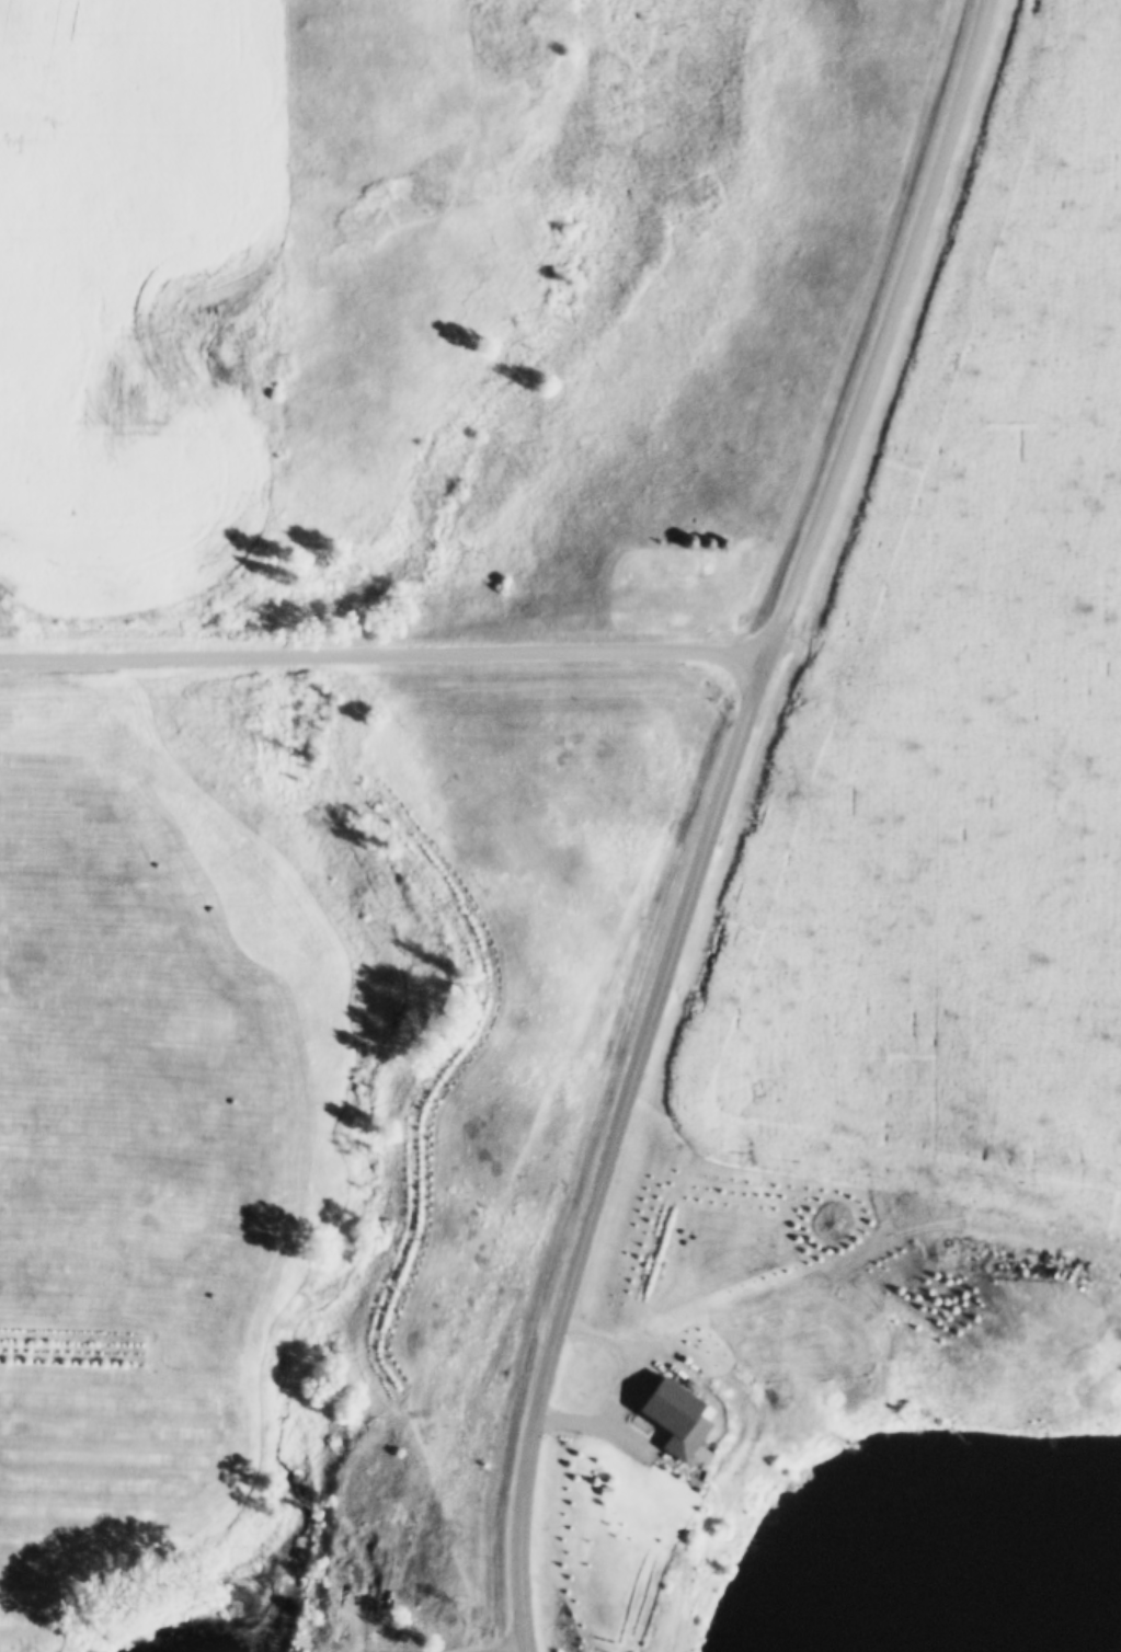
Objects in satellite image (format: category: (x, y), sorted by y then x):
road: (884, 336)
building: (687, 536)
silo: (687, 536)
building: (708, 539)
silo: (708, 539)
building: (723, 539)
silo: (723, 539)
road: (384, 658)
road: (611, 1154)
building: (661, 1413)
building: (368, 1599)

